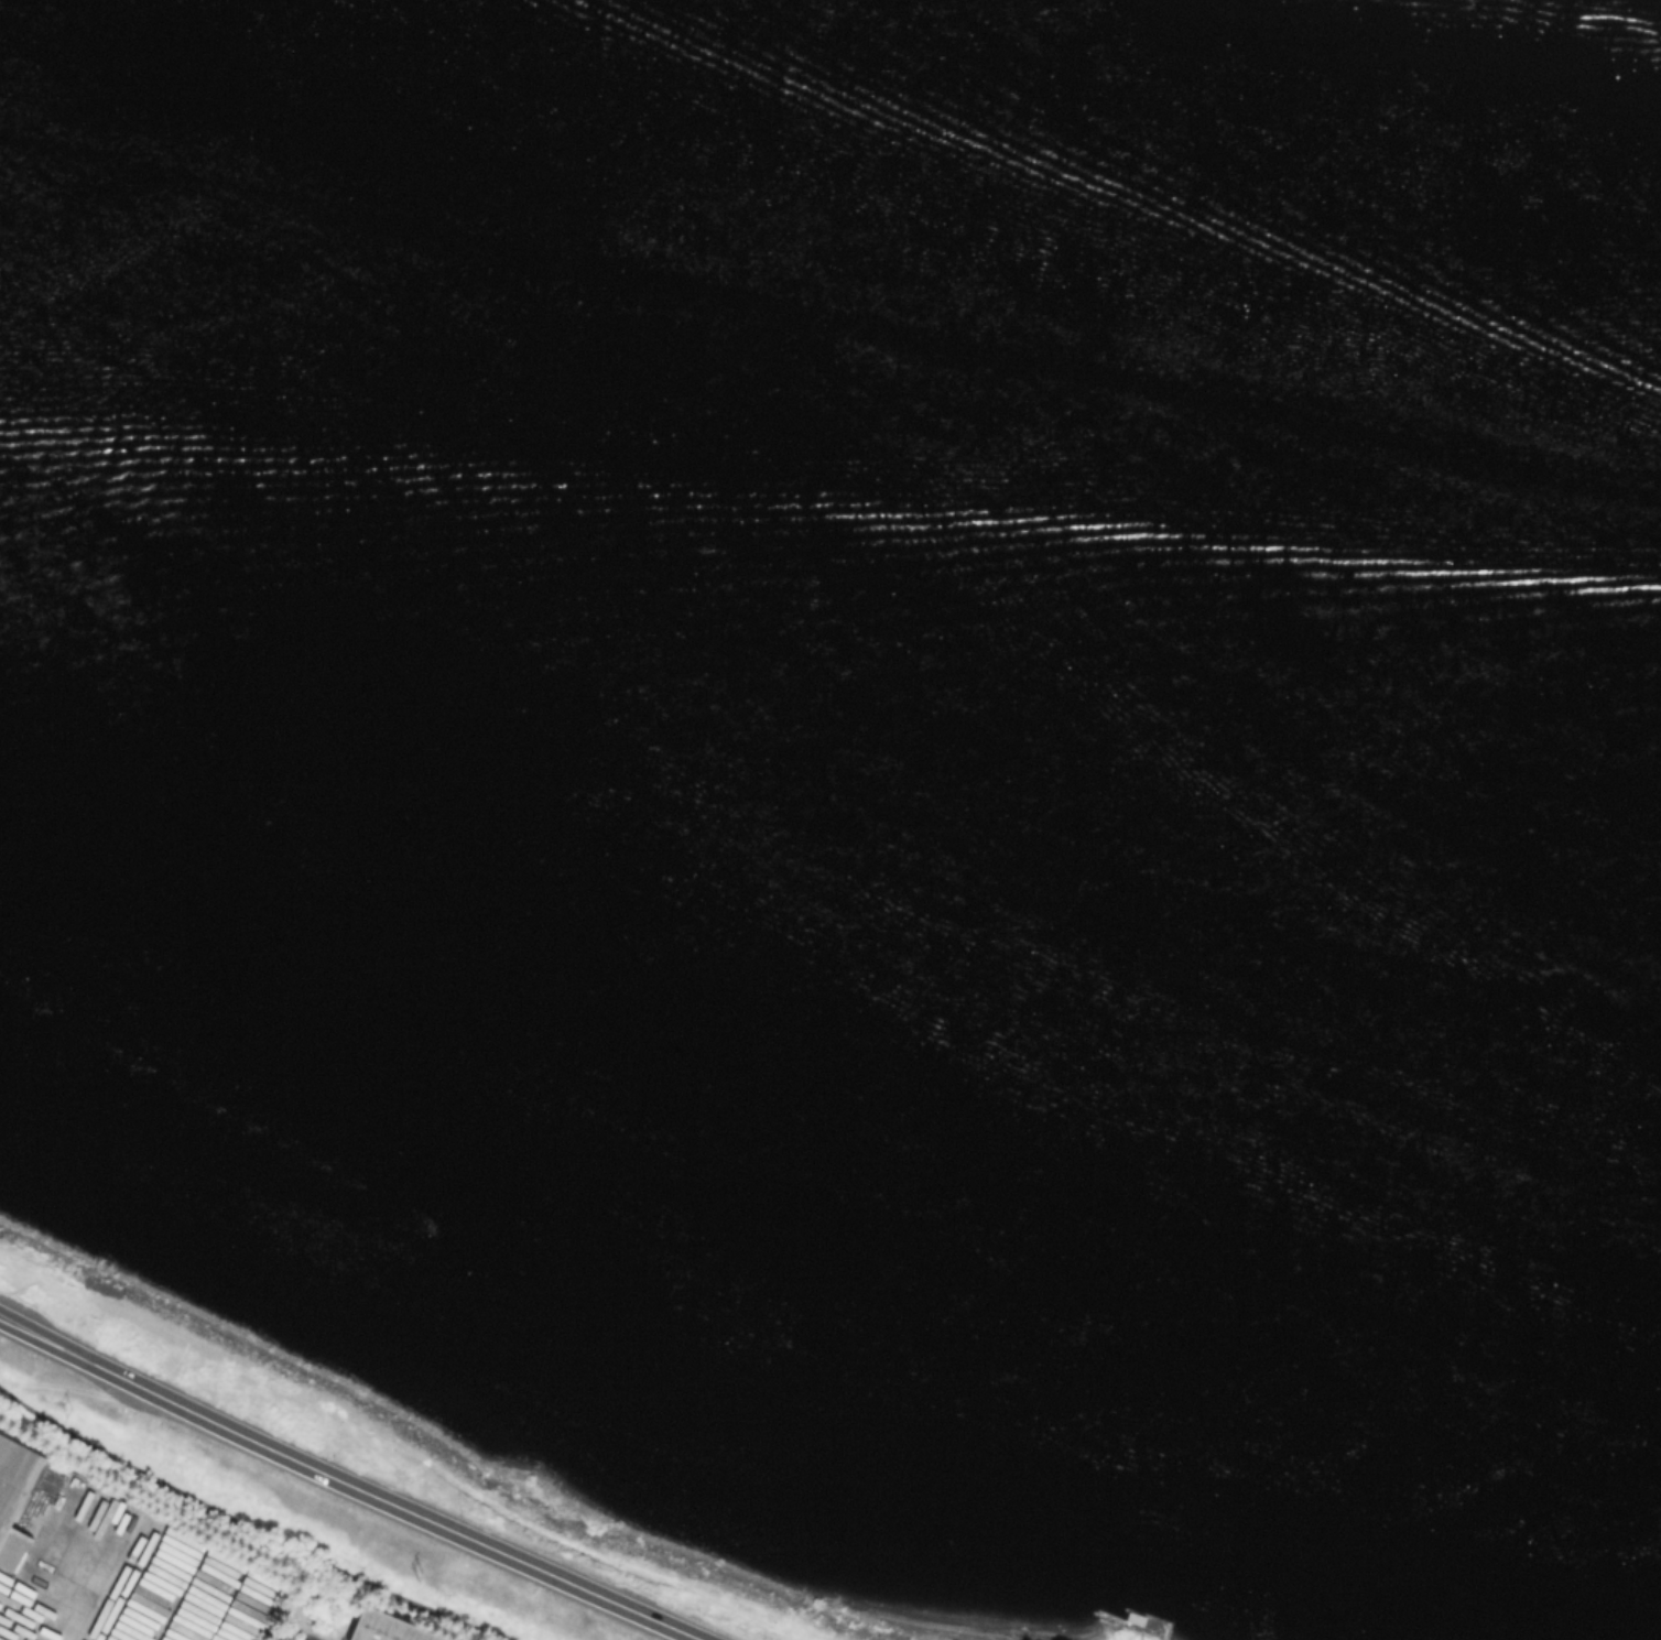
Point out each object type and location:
road: (347, 1484)
building: (24, 1499)
road: (250, 1524)
road: (89, 1610)
building: (391, 1628)

